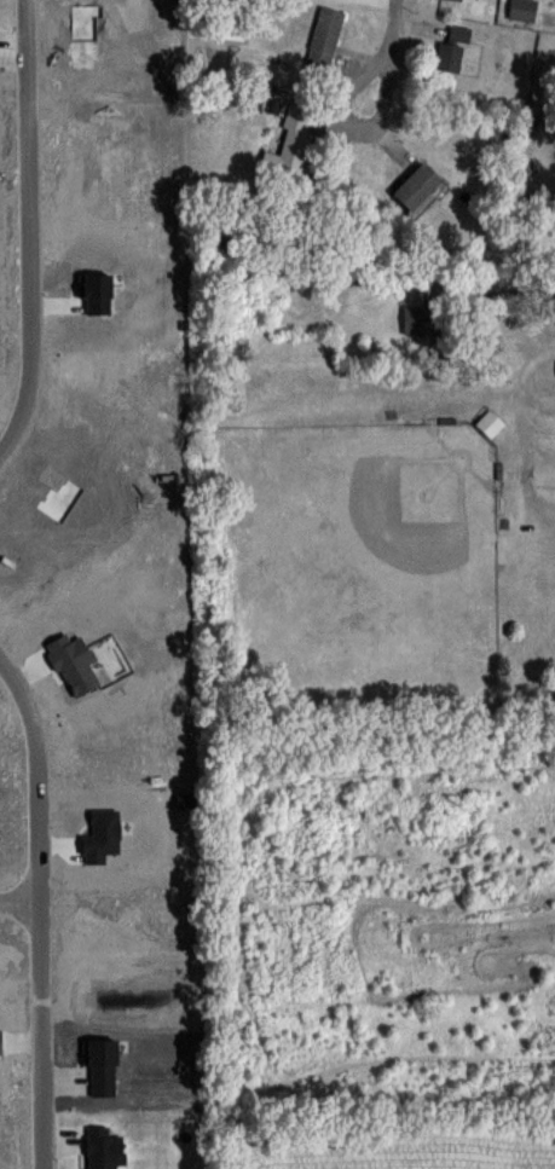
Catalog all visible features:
building: (522, 10)
building: (324, 37)
building: (451, 47)
road: (389, 58)
building: (290, 144)
building: (417, 186)
road: (35, 233)
road: (534, 288)
building: (421, 319)
building: (490, 422)
park: (378, 539)
park: (362, 559)
road: (21, 898)
road: (42, 904)

